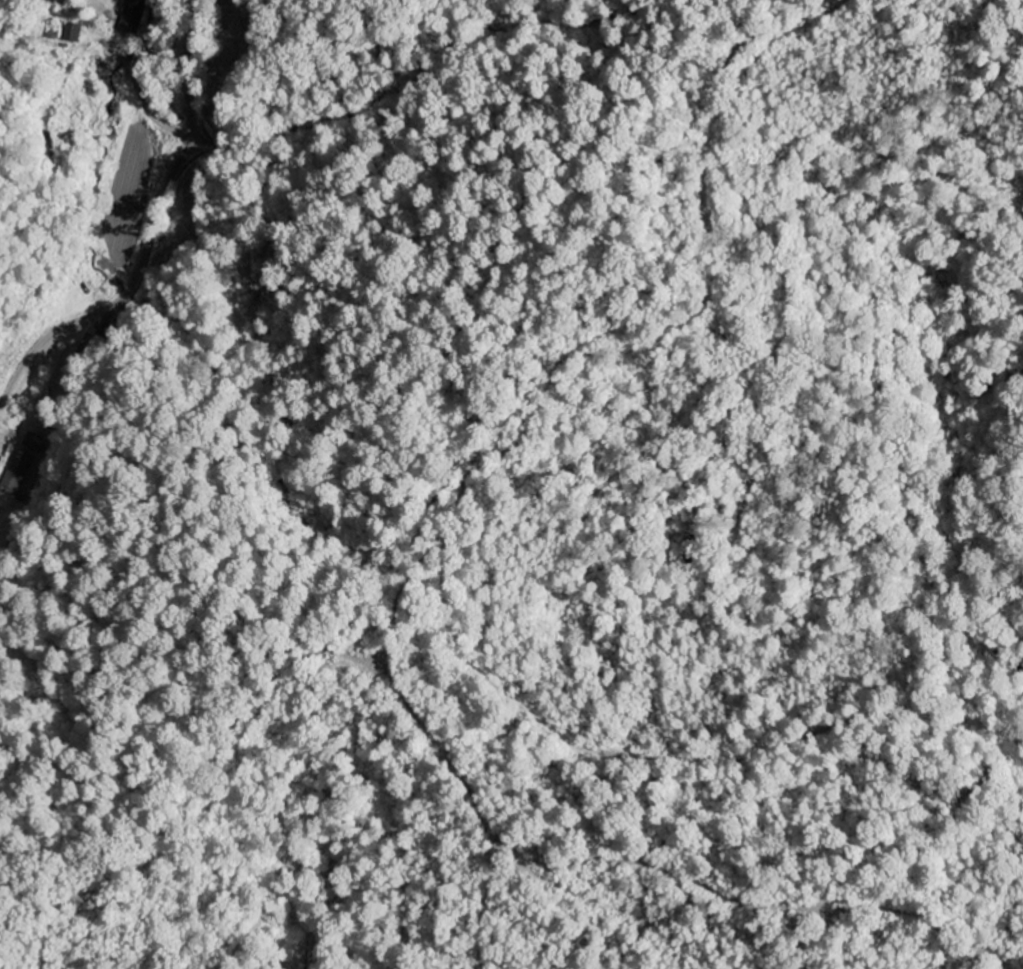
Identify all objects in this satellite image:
road: (156, 224)
building: (32, 443)
building: (15, 473)

